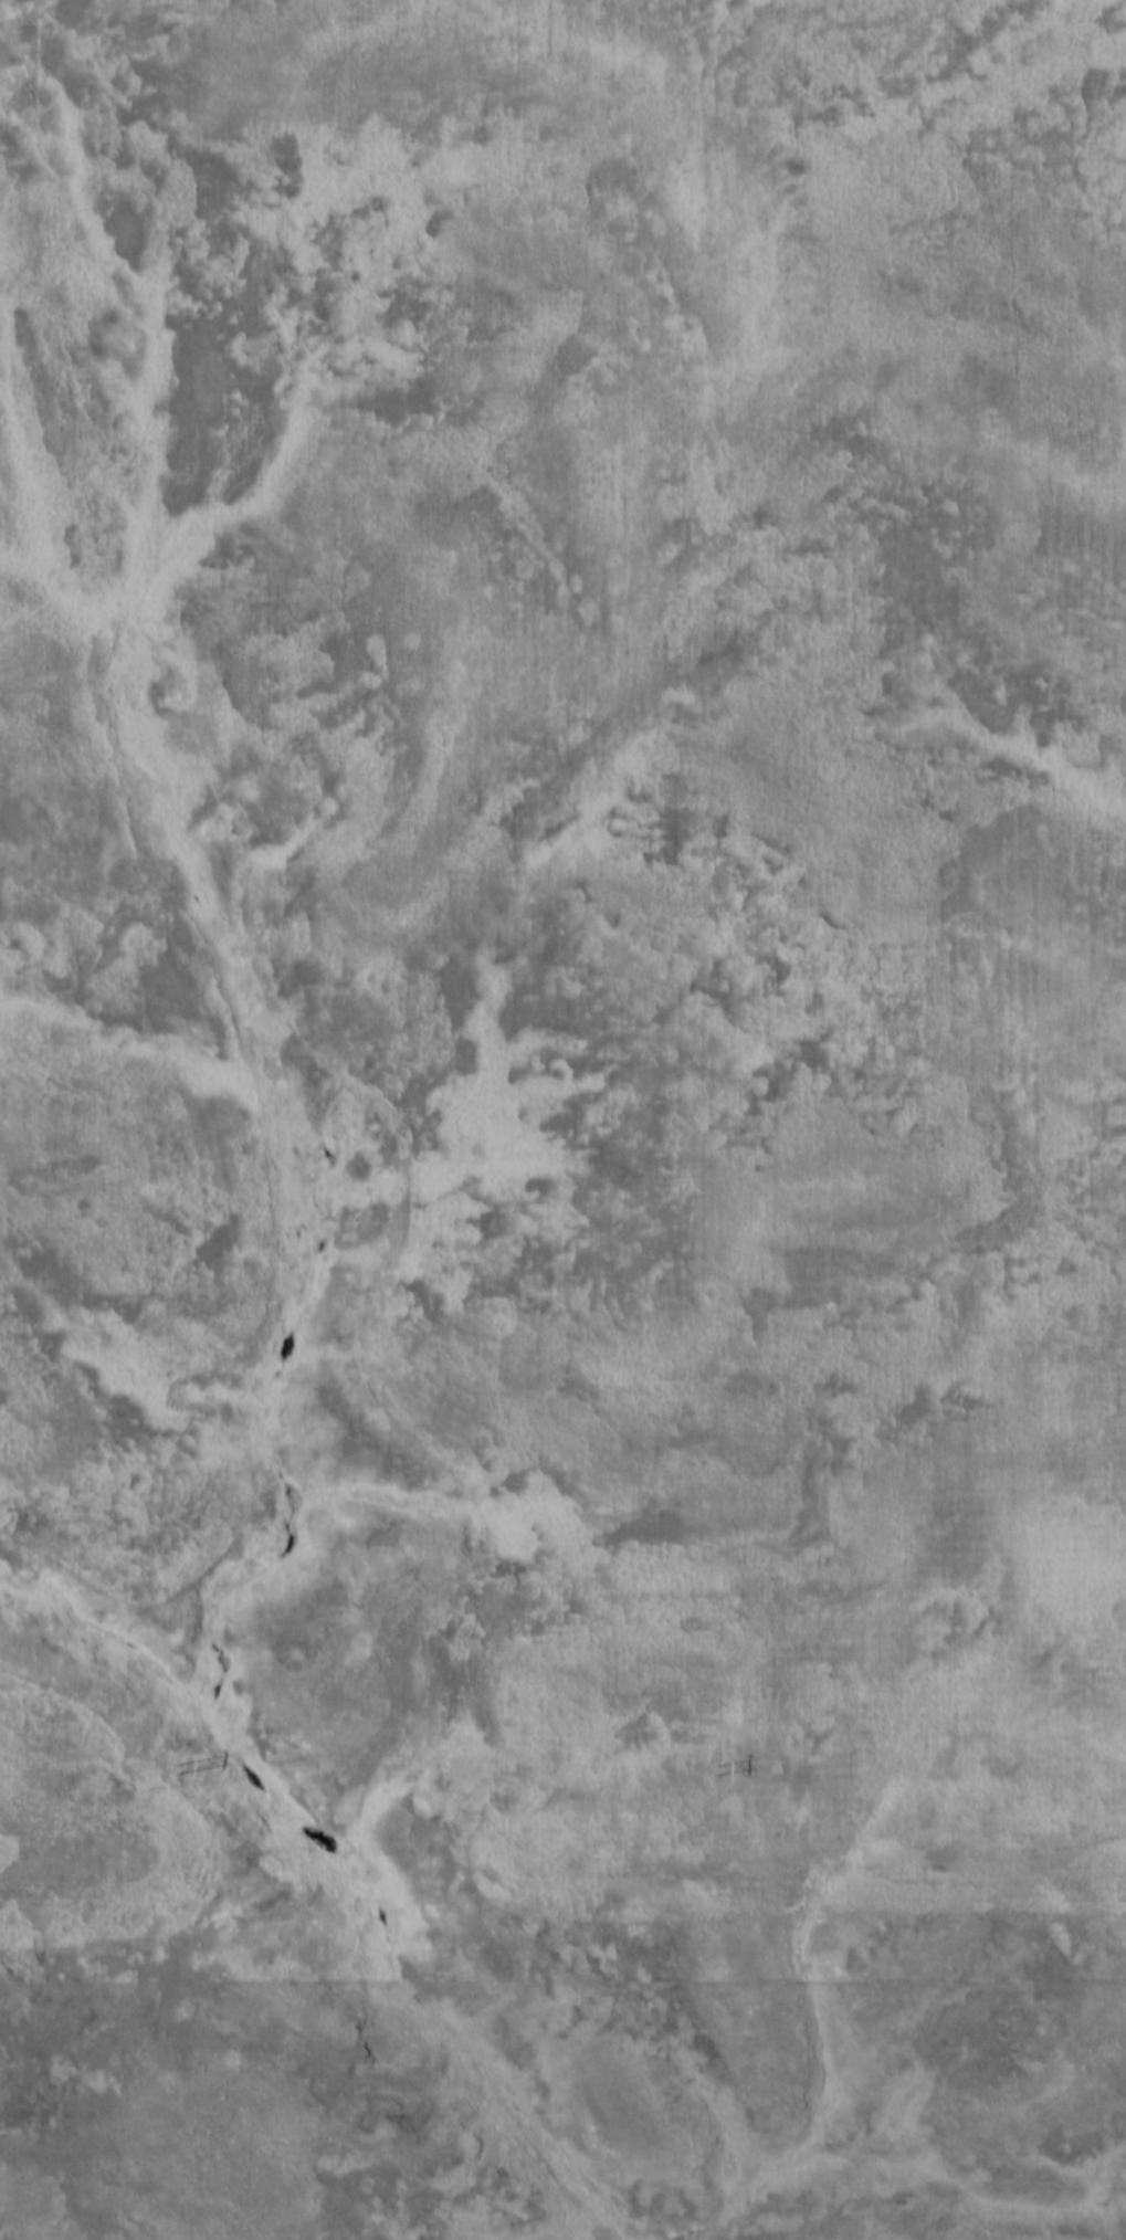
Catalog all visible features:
power tower: (173, 1773)
power tower: (717, 1773)

